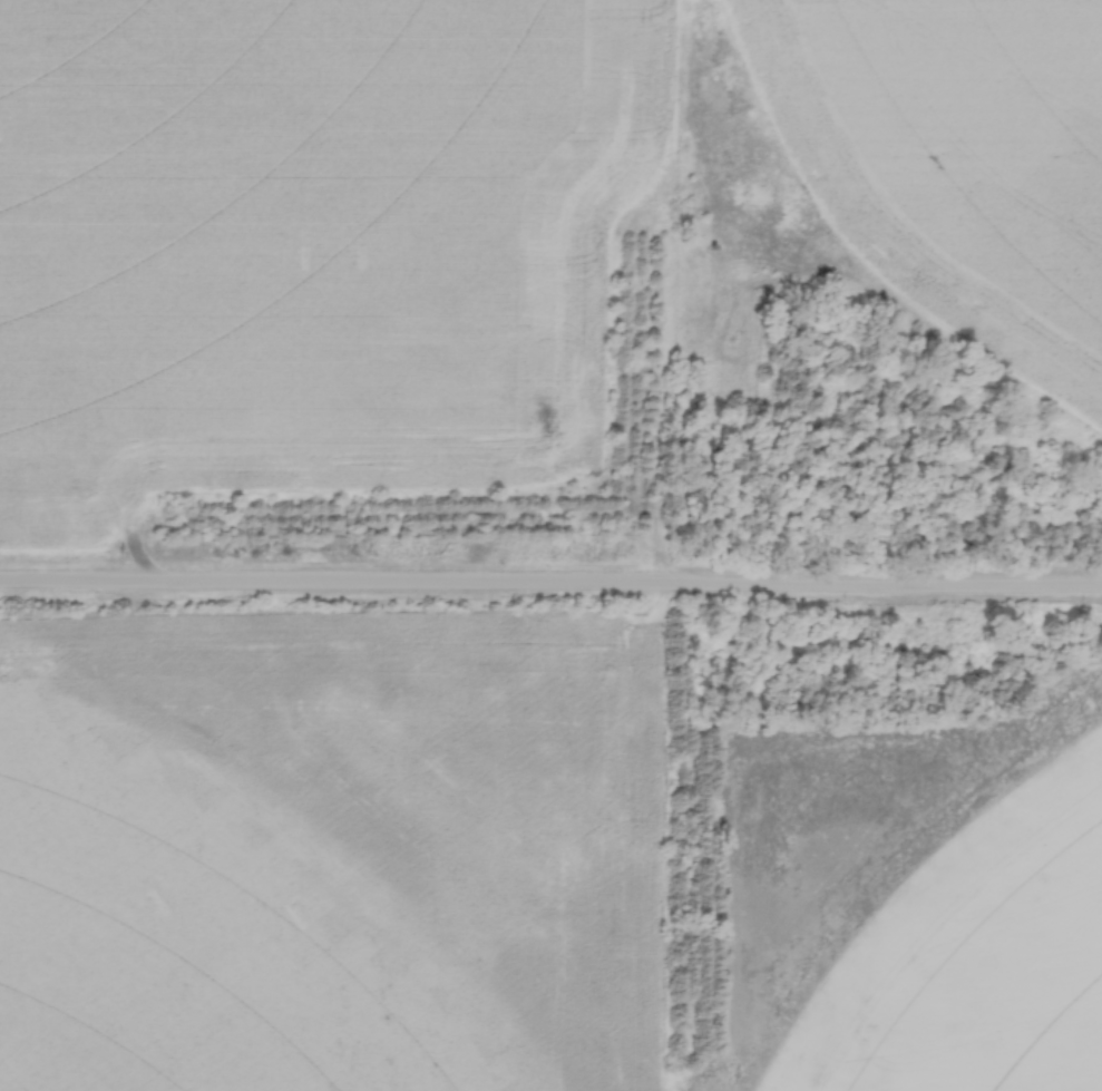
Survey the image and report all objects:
road: (550, 585)

